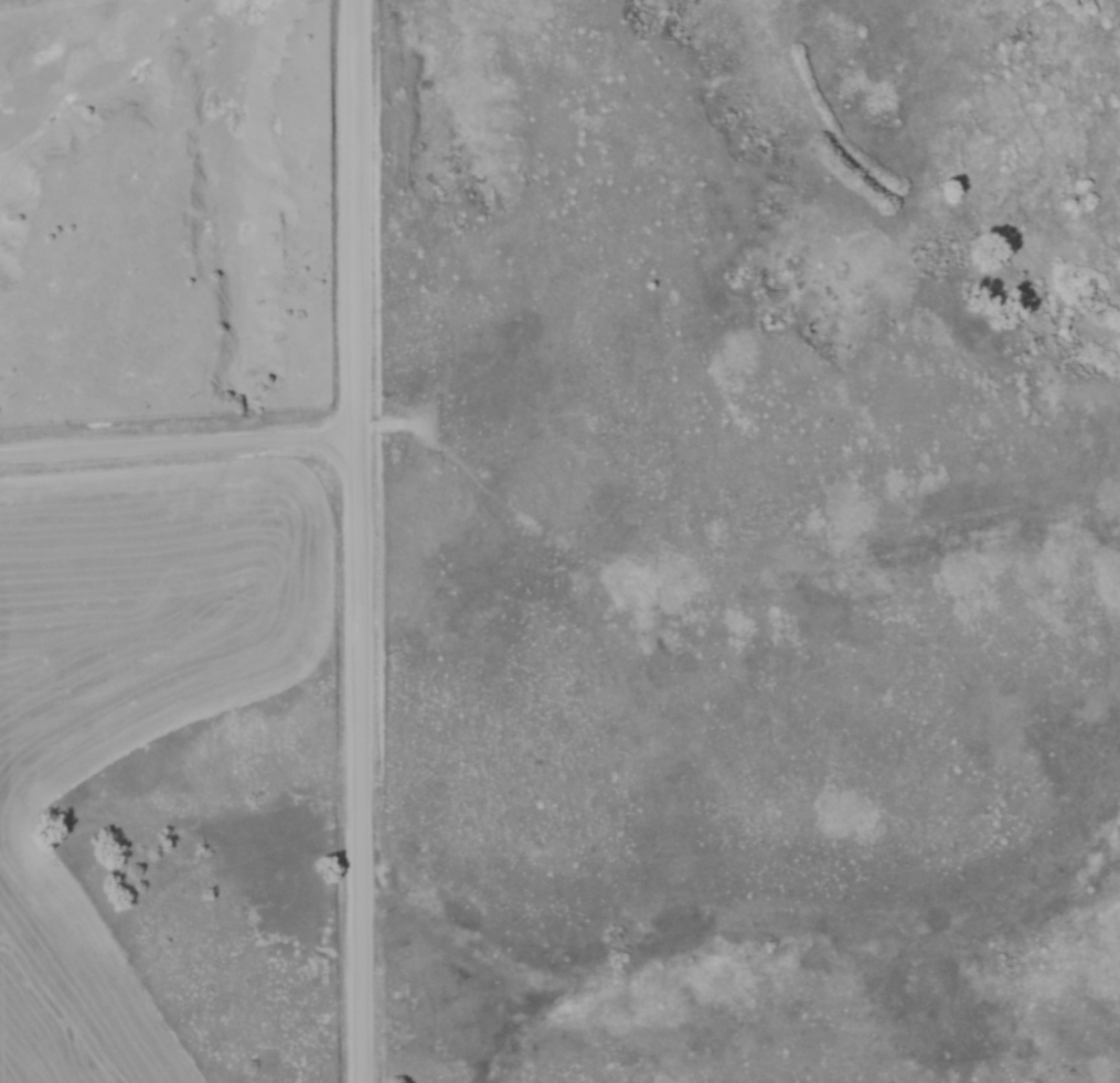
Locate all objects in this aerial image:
road: (179, 442)
road: (361, 540)

